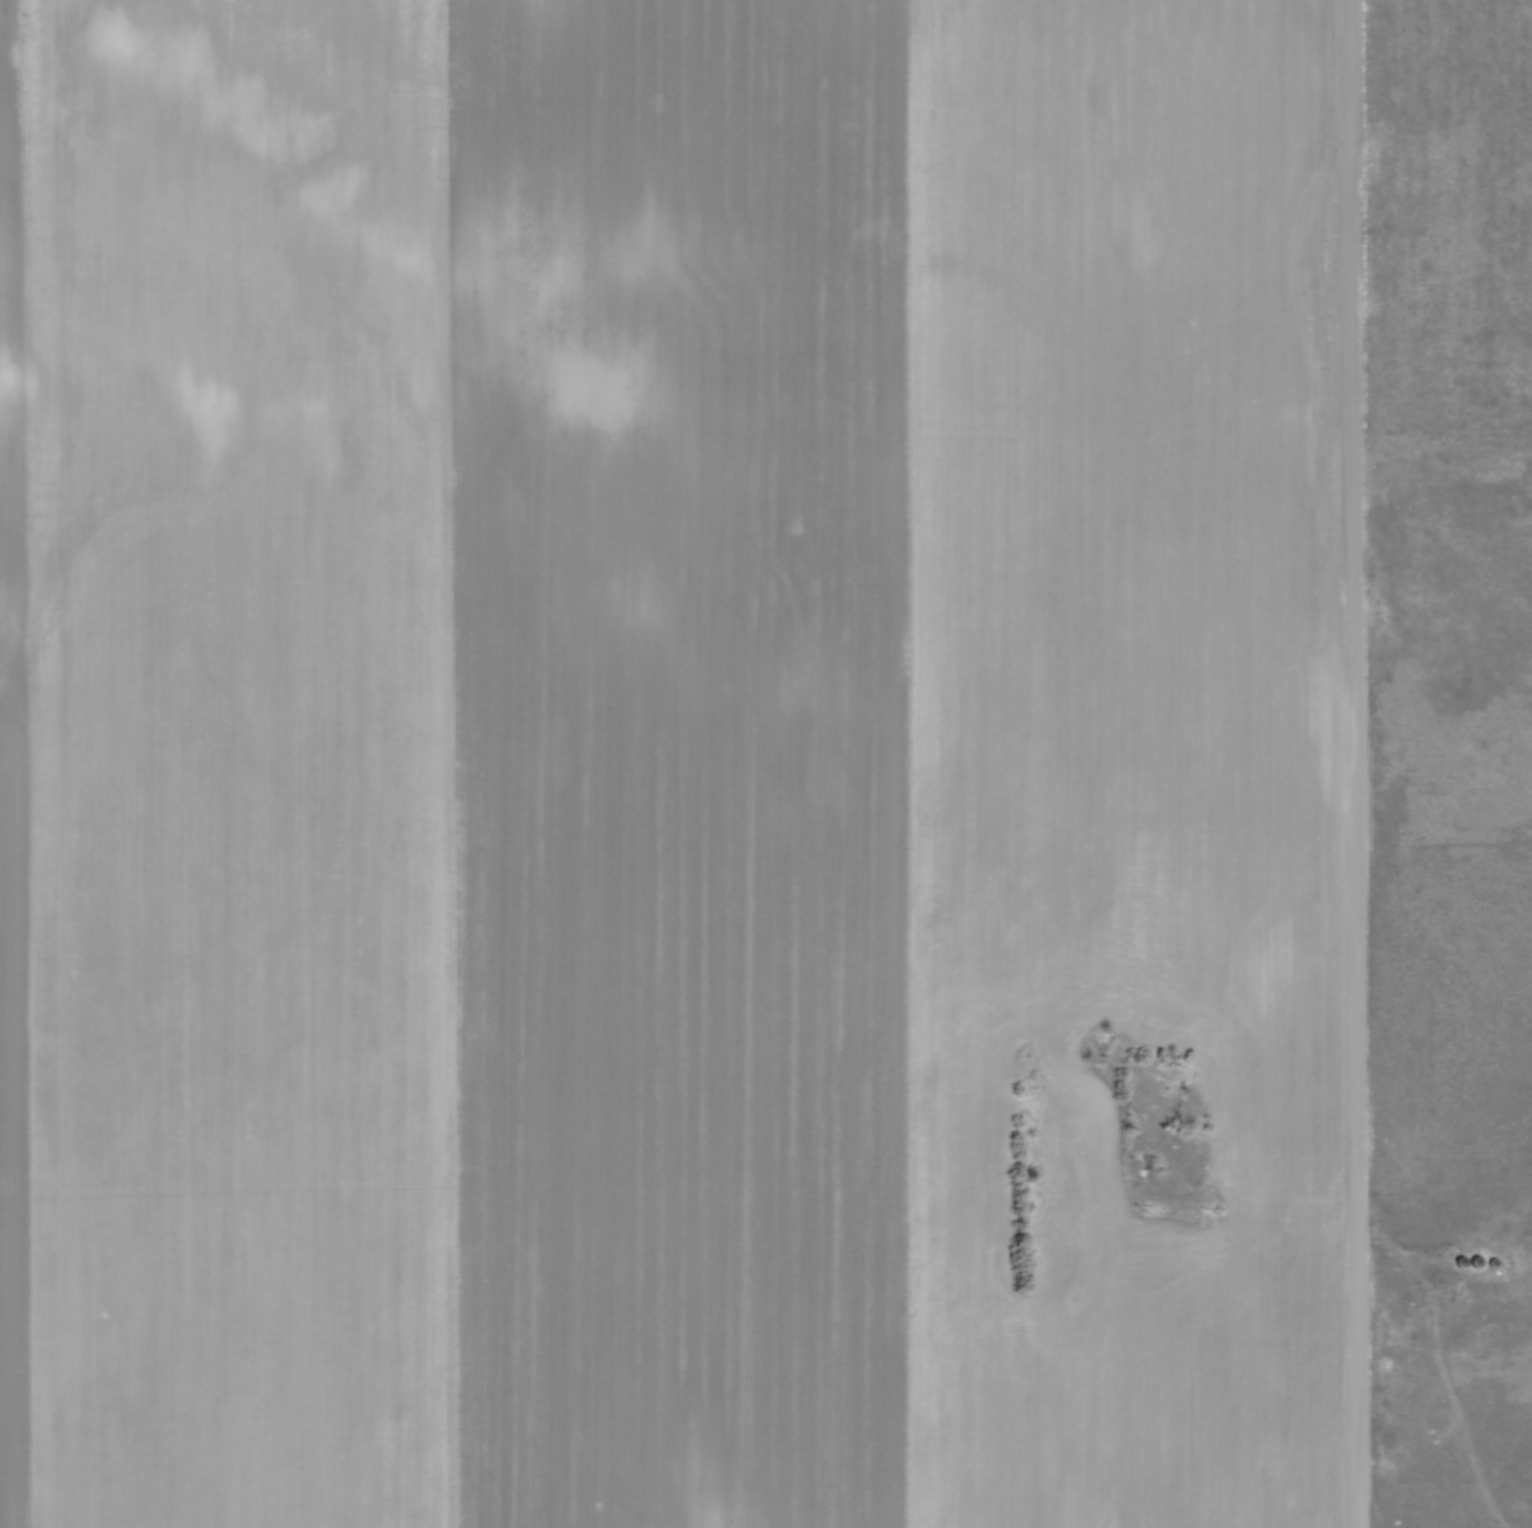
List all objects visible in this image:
crop: (1448, 220)
road: (1353, 764)
crop: (669, 765)

